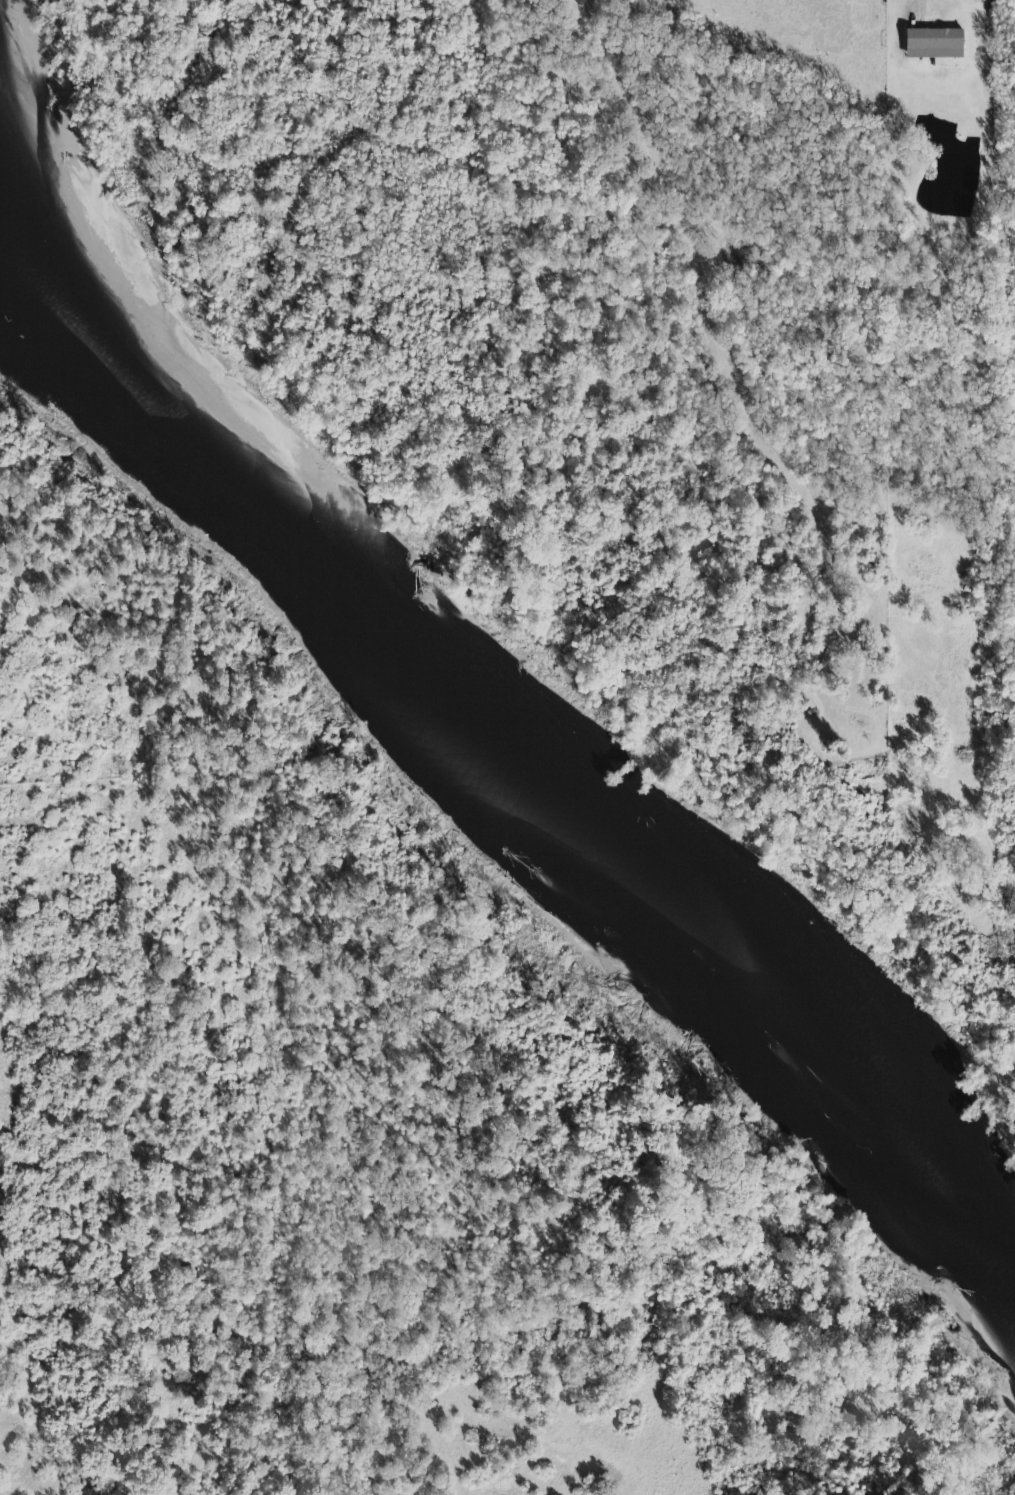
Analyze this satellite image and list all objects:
building: (987, 0)
road: (918, 13)
building: (935, 44)
river: (506, 750)
road: (38, 1447)

